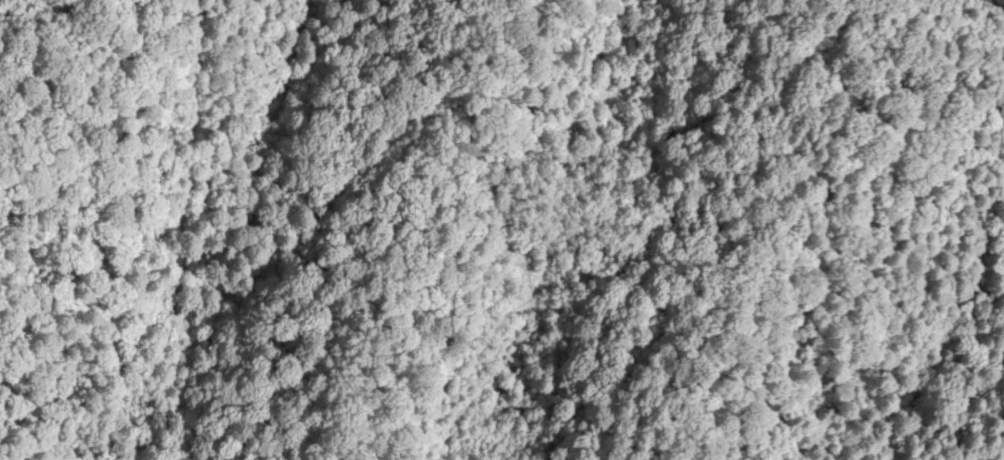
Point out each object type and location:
road: (971, 16)

